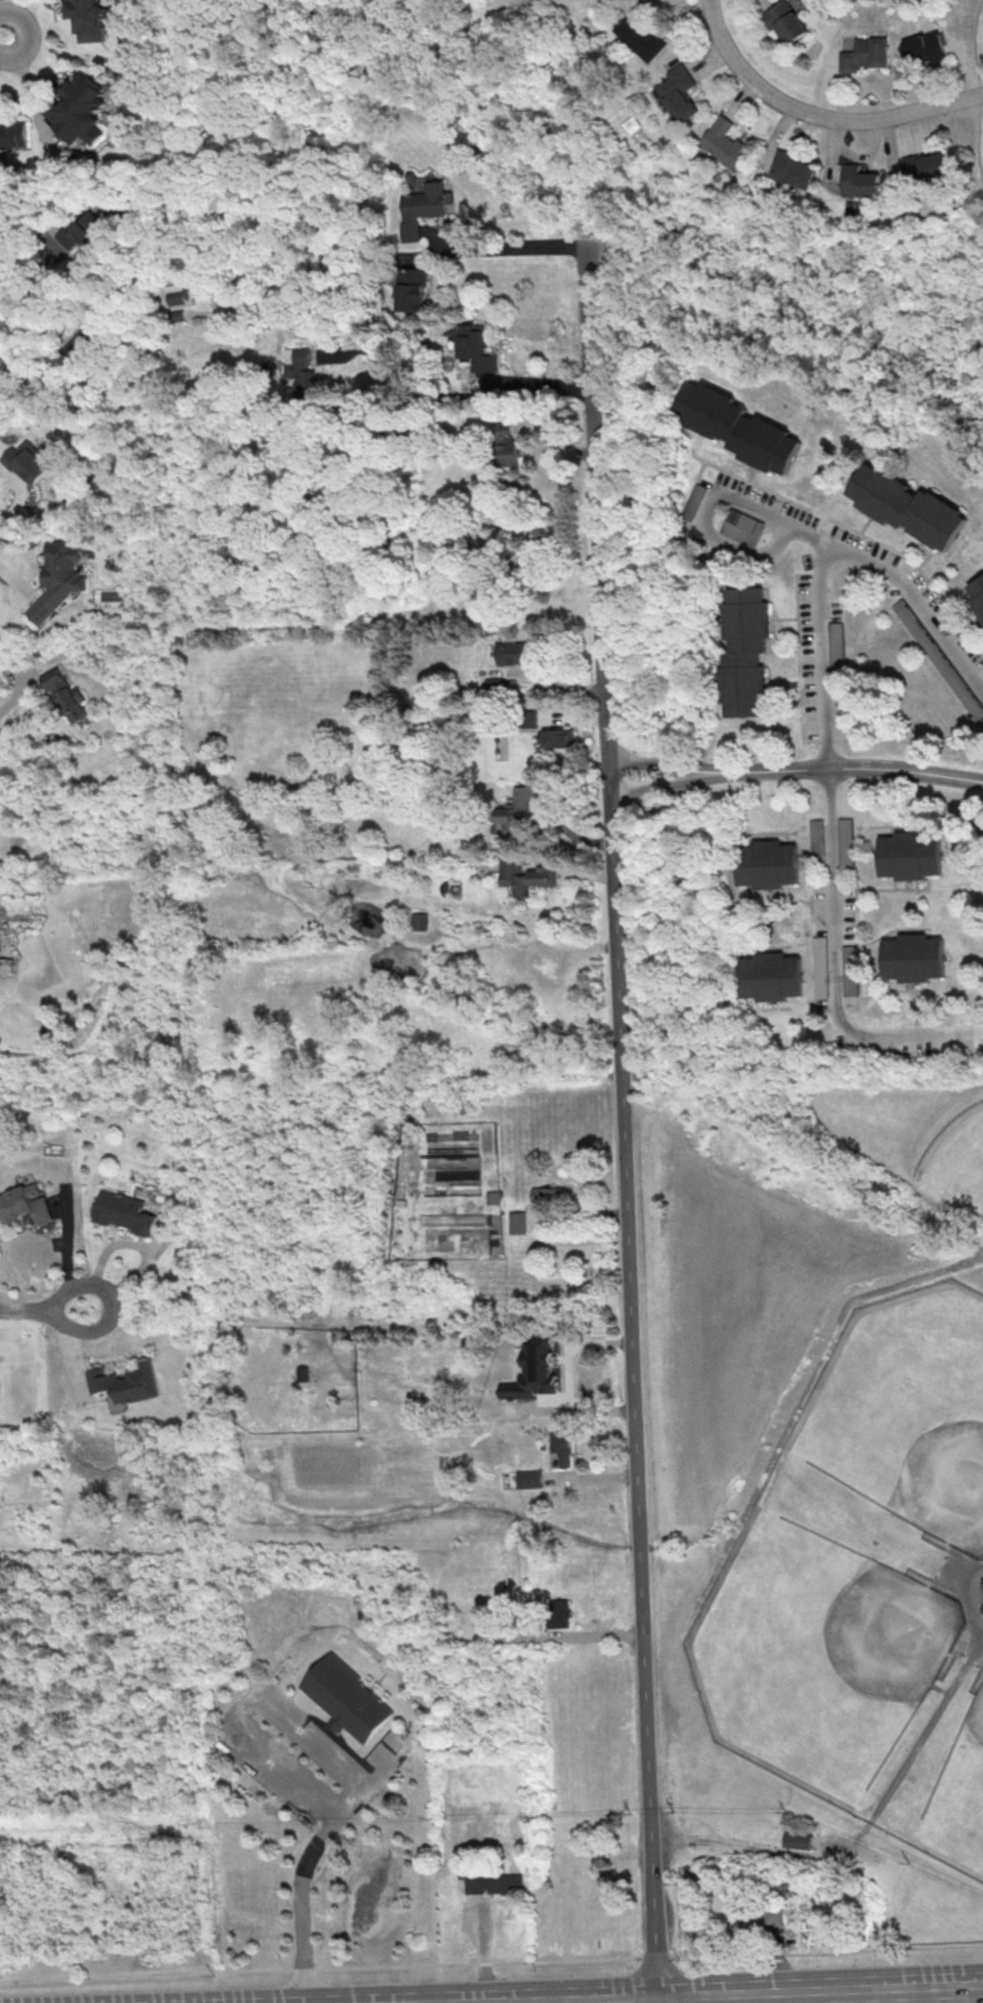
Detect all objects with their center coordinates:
park: (886, 6)
building: (87, 18)
building: (785, 22)
building: (641, 35)
road: (3, 37)
building: (924, 47)
building: (865, 54)
road: (977, 92)
road: (29, 93)
building: (680, 93)
building: (78, 106)
road: (817, 115)
building: (12, 131)
building: (726, 142)
building: (926, 167)
building: (795, 169)
building: (861, 182)
building: (422, 208)
building: (86, 229)
road: (496, 248)
park: (822, 286)
building: (411, 289)
building: (178, 293)
road: (7, 295)
building: (82, 348)
building: (475, 348)
road: (413, 366)
building: (300, 369)
building: (733, 426)
building: (506, 443)
building: (31, 460)
road: (15, 493)
building: (694, 501)
building: (908, 506)
road: (710, 511)
building: (742, 527)
building: (59, 578)
building: (979, 595)
building: (921, 635)
building: (836, 647)
building: (511, 653)
building: (747, 653)
road: (825, 670)
road: (15, 695)
building: (66, 697)
building: (529, 718)
building: (558, 738)
road: (665, 763)
road: (853, 767)
road: (667, 786)
building: (521, 811)
building: (816, 837)
building: (845, 841)
building: (911, 855)
building: (768, 864)
building: (525, 877)
building: (419, 921)
building: (913, 958)
building: (773, 977)
road: (908, 1039)
road: (621, 1120)
park: (958, 1154)
building: (22, 1206)
building: (121, 1212)
building: (517, 1222)
road: (67, 1256)
road: (133, 1278)
road: (42, 1308)
building: (535, 1372)
building: (125, 1383)
park: (906, 1399)
building: (562, 1447)
building: (529, 1478)
park: (820, 1484)
building: (982, 1582)
road: (969, 1597)
building: (982, 1609)
building: (560, 1613)
park: (797, 1665)
road: (256, 1695)
building: (350, 1704)
road: (921, 1741)
road: (384, 1764)
park: (965, 1828)
building: (797, 1841)
road: (753, 1848)
building: (492, 1884)
road: (299, 1903)
building: (771, 1917)
building: (743, 1923)
road: (482, 1948)
road: (774, 1959)
road: (491, 1962)
road: (820, 1991)
road: (585, 2000)

